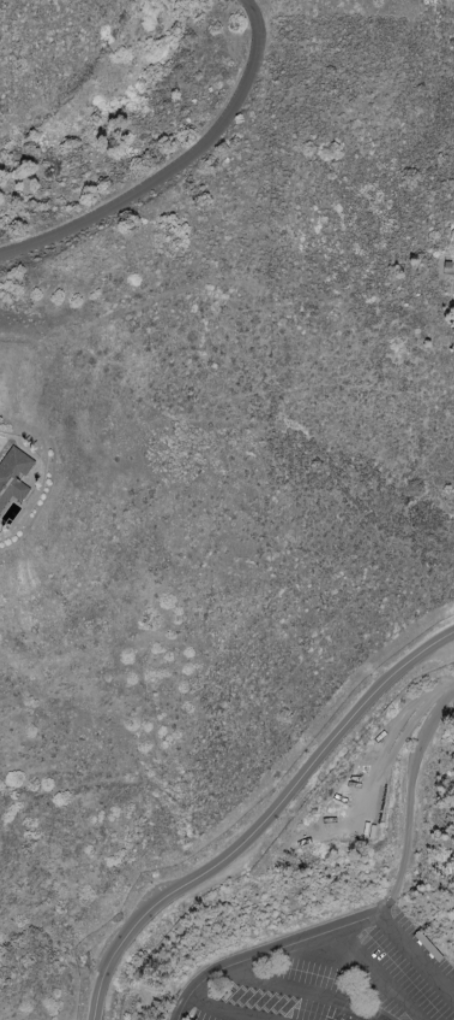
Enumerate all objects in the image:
road: (175, 166)
building: (12, 474)
road: (409, 799)
road: (264, 822)
road: (266, 951)
road: (416, 955)
road: (379, 974)
parking lot: (325, 975)
road: (301, 990)
road: (220, 1011)

